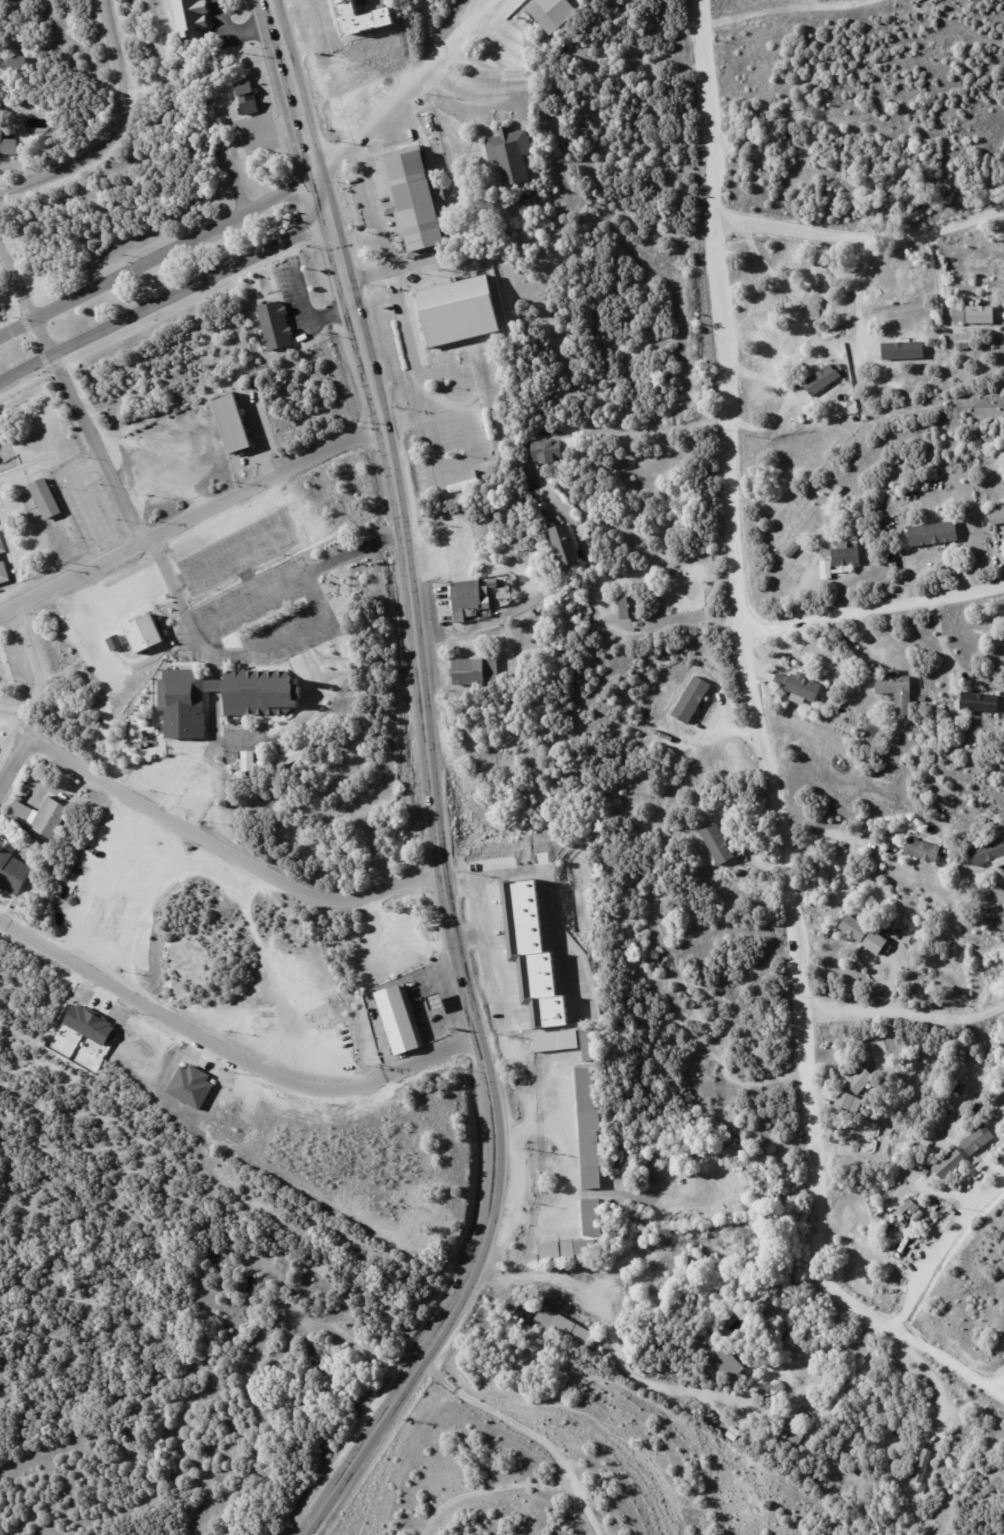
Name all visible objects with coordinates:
building: (552, 12)
building: (190, 17)
building: (365, 18)
road: (433, 30)
road: (235, 33)
building: (16, 63)
road: (294, 86)
road: (413, 89)
building: (247, 99)
road: (478, 99)
building: (1, 104)
road: (111, 131)
building: (329, 131)
road: (233, 139)
building: (7, 146)
building: (511, 153)
road: (321, 197)
building: (413, 197)
building: (529, 201)
road: (375, 207)
road: (863, 238)
road: (157, 254)
road: (397, 267)
building: (960, 270)
road: (861, 284)
road: (162, 298)
road: (942, 307)
building: (458, 309)
road: (305, 312)
building: (977, 314)
building: (275, 325)
building: (962, 346)
building: (904, 347)
building: (943, 364)
building: (823, 379)
road: (71, 392)
road: (404, 418)
building: (232, 421)
building: (547, 450)
road: (435, 451)
road: (83, 490)
building: (45, 498)
building: (997, 514)
road: (196, 515)
building: (889, 527)
building: (934, 533)
road: (579, 536)
building: (565, 544)
building: (2, 545)
building: (793, 550)
building: (846, 554)
road: (225, 557)
building: (894, 563)
building: (825, 568)
building: (3, 573)
road: (248, 573)
building: (465, 598)
road: (250, 599)
building: (625, 607)
road: (5, 611)
road: (877, 611)
building: (486, 613)
road: (492, 621)
building: (143, 632)
road: (278, 638)
building: (849, 638)
building: (114, 642)
road: (27, 665)
road: (121, 670)
building: (474, 671)
building: (800, 686)
building: (897, 690)
building: (228, 693)
building: (924, 699)
building: (692, 700)
building: (838, 702)
building: (980, 702)
building: (838, 709)
building: (1003, 720)
road: (267, 739)
road: (767, 748)
building: (287, 758)
building: (247, 762)
road: (14, 763)
building: (37, 815)
building: (718, 844)
road: (228, 850)
building: (923, 850)
building: (990, 854)
building: (13, 872)
building: (738, 873)
road: (542, 896)
road: (448, 900)
building: (882, 927)
building: (854, 929)
road: (468, 939)
building: (876, 942)
road: (483, 952)
building: (532, 955)
road: (906, 1016)
building: (400, 1018)
building: (714, 1036)
road: (232, 1037)
building: (557, 1043)
building: (589, 1046)
building: (859, 1080)
building: (191, 1085)
building: (850, 1102)
building: (589, 1128)
building: (978, 1140)
building: (947, 1162)
building: (655, 1167)
road: (566, 1173)
building: (592, 1217)
building: (637, 1221)
building: (637, 1237)
building: (562, 1251)
road: (945, 1252)
building: (219, 1255)
building: (694, 1262)
road: (627, 1263)
building: (518, 1305)
building: (406, 1322)
building: (562, 1328)
building: (793, 1339)
road: (617, 1351)
building: (321, 1357)
building: (728, 1362)
road: (933, 1382)
building: (794, 1432)
building: (923, 1465)

